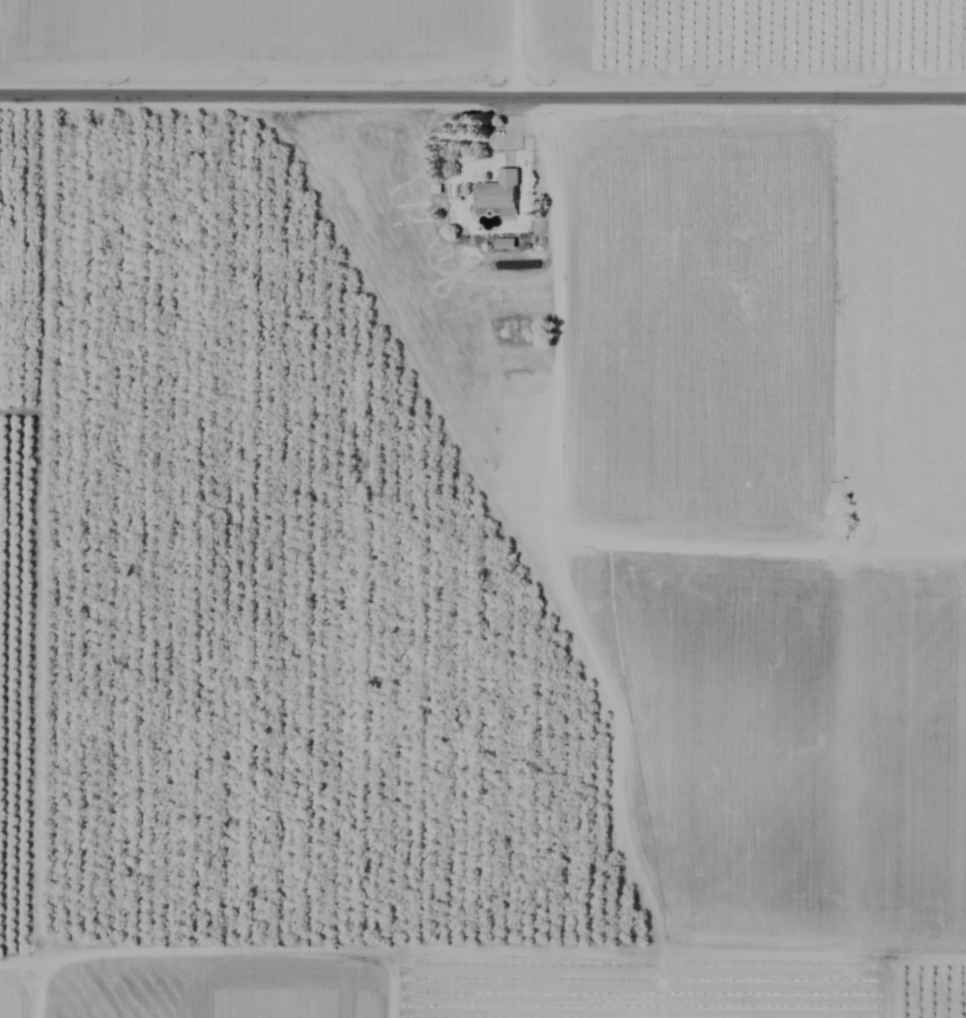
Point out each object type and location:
road: (517, 47)
road: (483, 95)
building: (497, 194)
building: (503, 243)
crop: (483, 509)

